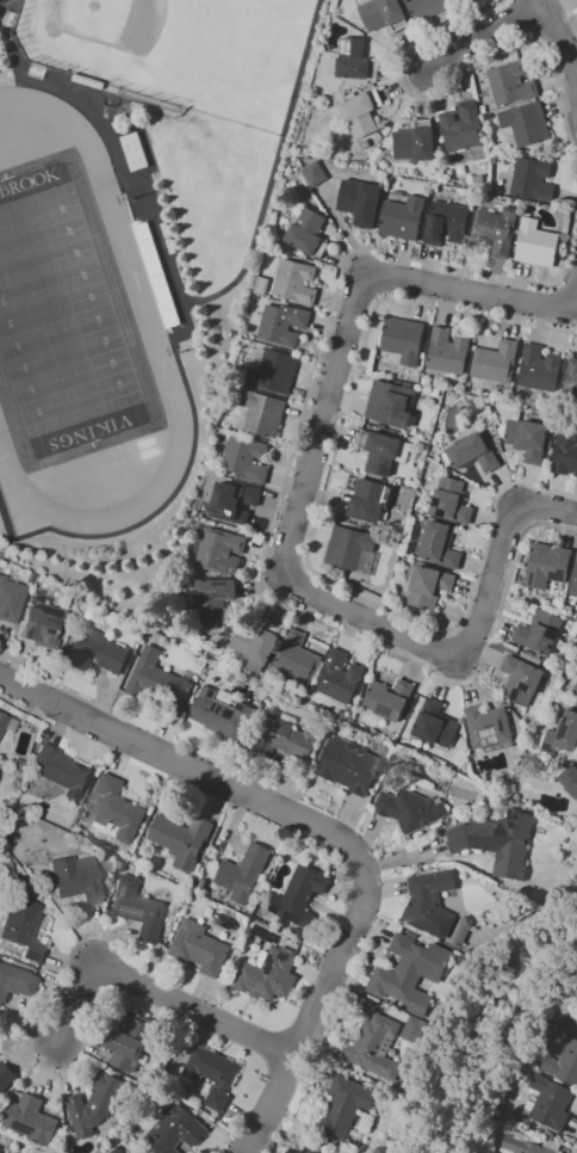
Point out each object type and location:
building: (459, 0)
building: (427, 7)
road: (571, 12)
building: (383, 14)
road: (560, 32)
road: (490, 38)
park: (178, 51)
building: (353, 58)
building: (511, 84)
building: (360, 112)
building: (526, 123)
building: (461, 127)
building: (415, 142)
building: (364, 144)
road: (112, 148)
building: (378, 155)
road: (273, 171)
building: (315, 173)
building: (533, 179)
building: (360, 202)
rooftop solar panel: (455, 211)
building: (403, 217)
rooftop solar panel: (440, 221)
building: (446, 223)
rooftop solar panel: (428, 228)
building: (496, 229)
building: (308, 233)
rooftop solar panel: (436, 234)
building: (536, 242)
road: (341, 263)
track: (136, 282)
building: (296, 282)
road: (567, 284)
building: (262, 285)
road: (472, 290)
park: (64, 321)
building: (281, 323)
track: (68, 331)
building: (403, 339)
building: (448, 352)
building: (496, 362)
building: (539, 369)
building: (272, 370)
building: (571, 381)
building: (390, 402)
building: (473, 408)
building: (262, 413)
building: (528, 438)
building: (379, 451)
building: (472, 452)
building: (565, 452)
building: (242, 457)
rooftop solar panel: (374, 462)
rooftop solar panel: (385, 469)
rooftop solar panel: (218, 494)
road: (172, 495)
building: (367, 500)
building: (235, 501)
building: (451, 501)
rooftop solar panel: (438, 502)
rooftop solar panel: (221, 510)
rooftop solar panel: (440, 514)
road: (315, 524)
road: (304, 525)
building: (440, 544)
building: (217, 549)
building: (350, 549)
road: (505, 557)
building: (546, 565)
rooftop solar panel: (558, 575)
rooftop solar panel: (533, 576)
rooftop solar panel: (219, 582)
building: (573, 582)
building: (426, 586)
rooftop solar panel: (207, 594)
building: (212, 599)
building: (10, 600)
building: (82, 603)
building: (41, 624)
building: (540, 631)
rooftop solar panel: (552, 633)
building: (255, 646)
building: (95, 652)
building: (297, 658)
building: (535, 660)
road: (25, 666)
building: (339, 678)
building: (521, 679)
building: (159, 682)
rooftop solar panel: (525, 685)
building: (576, 689)
rooftop solar panel: (514, 693)
building: (389, 698)
rooftop solar panel: (385, 710)
road: (29, 714)
building: (219, 715)
building: (7, 723)
building: (435, 723)
building: (489, 727)
road: (58, 728)
rooftop solar panel: (494, 730)
rooftop solar panel: (565, 730)
rooftop solar panel: (484, 733)
building: (563, 734)
building: (281, 735)
rooftop solar panel: (492, 739)
rooftop solar panel: (484, 742)
rooftop solar panel: (545, 747)
building: (17, 764)
road: (187, 765)
building: (348, 765)
building: (61, 771)
building: (570, 779)
building: (117, 809)
building: (410, 809)
rooftop solar panel: (513, 815)
rooftop solar panel: (421, 819)
rooftop solar panel: (513, 824)
rooftop solar panel: (501, 831)
building: (180, 839)
building: (497, 840)
road: (405, 857)
building: (122, 865)
rooftop solar panel: (120, 867)
building: (6, 870)
building: (243, 873)
building: (75, 880)
rooftop solar panel: (224, 883)
building: (44, 890)
rooftop solar panel: (124, 890)
building: (299, 895)
building: (430, 902)
building: (139, 908)
rooftop solar panel: (132, 912)
building: (23, 929)
building: (464, 932)
building: (298, 933)
rooftop solar panel: (181, 938)
building: (199, 948)
rooftop solar panel: (284, 956)
rooftop solar panel: (269, 964)
building: (410, 973)
building: (267, 975)
building: (17, 982)
road: (155, 992)
road: (316, 1013)
building: (414, 1029)
building: (129, 1042)
building: (376, 1047)
building: (563, 1063)
building: (527, 1069)
building: (211, 1075)
building: (6, 1077)
building: (0, 1098)
building: (548, 1102)
building: (95, 1104)
building: (343, 1108)
building: (32, 1121)
rooftop solar panel: (18, 1126)
building: (175, 1129)
building: (528, 1145)
building: (117, 1149)
building: (309, 1149)
building: (112, 1151)

